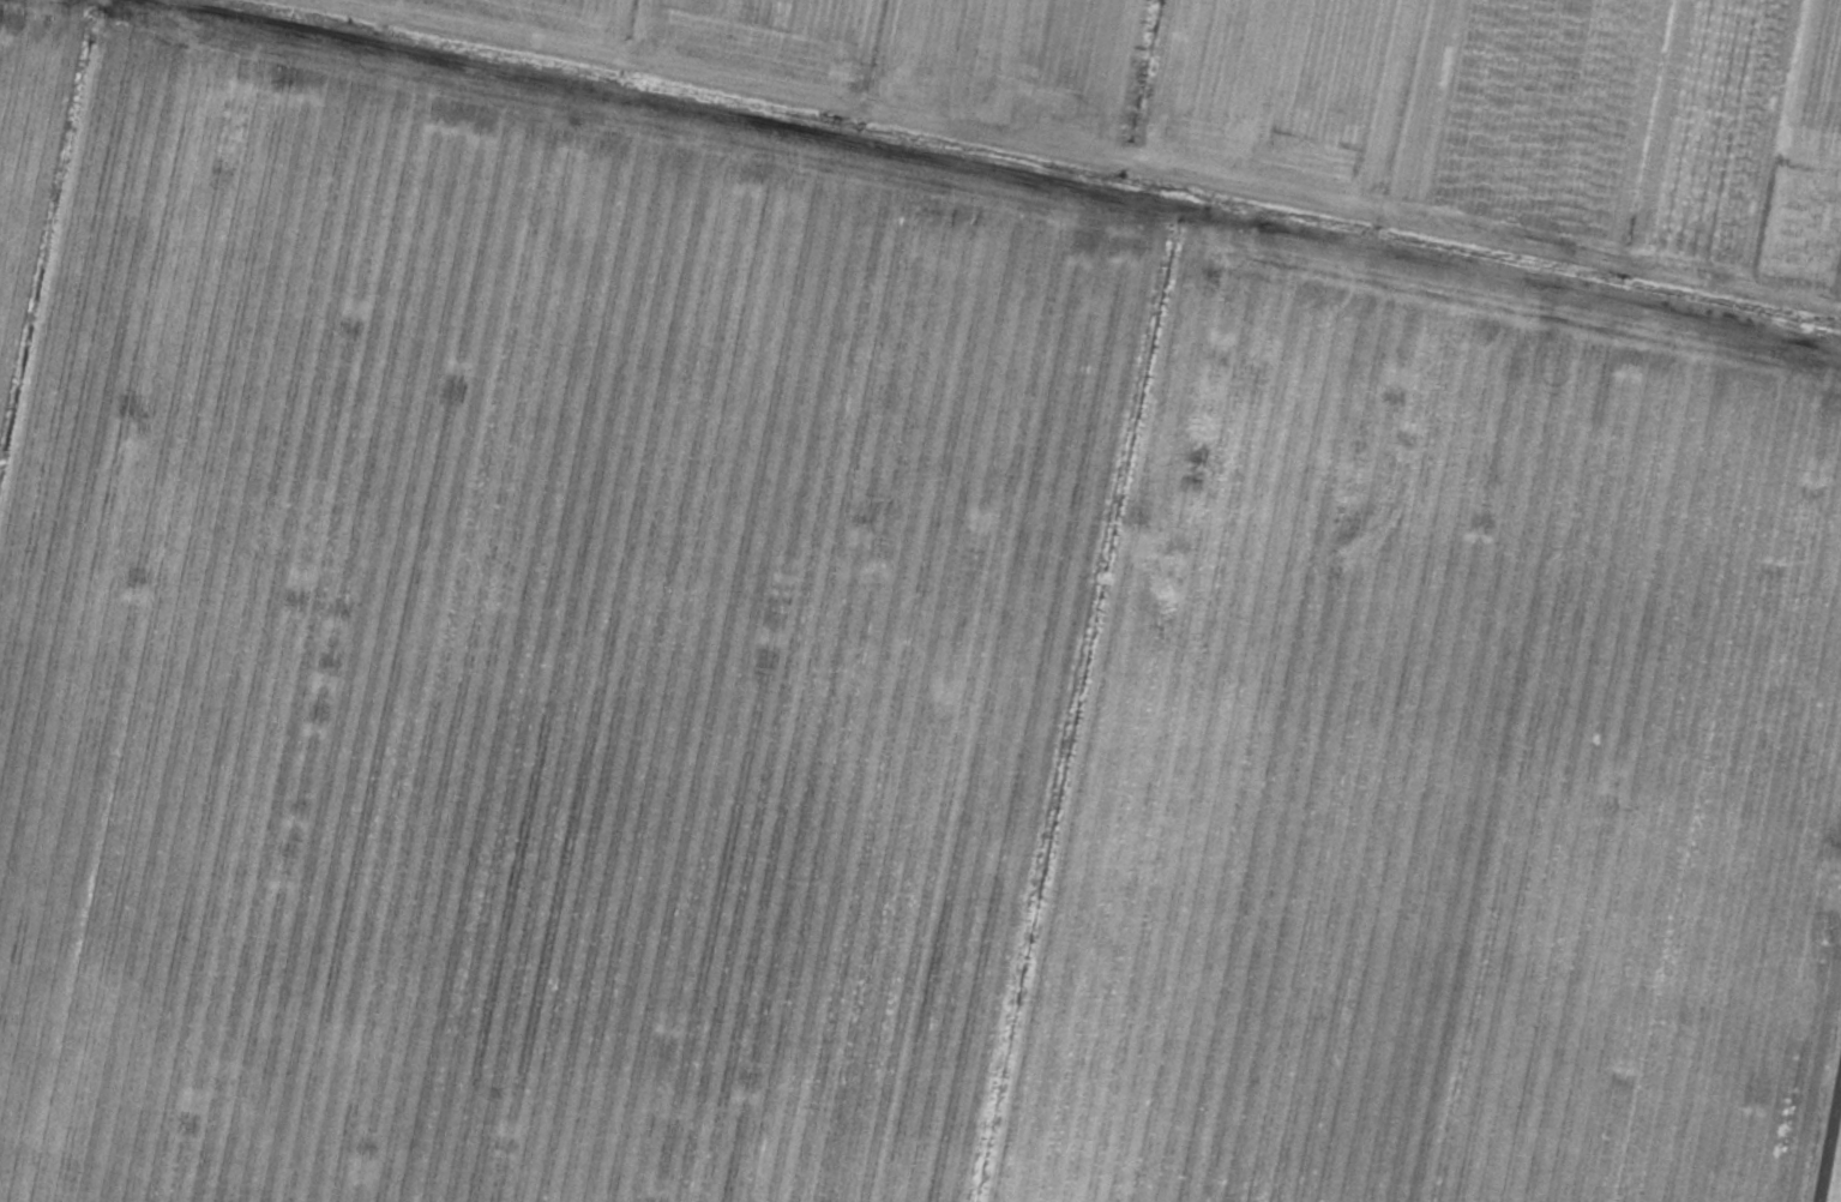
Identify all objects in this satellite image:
road: (1831, 1153)

